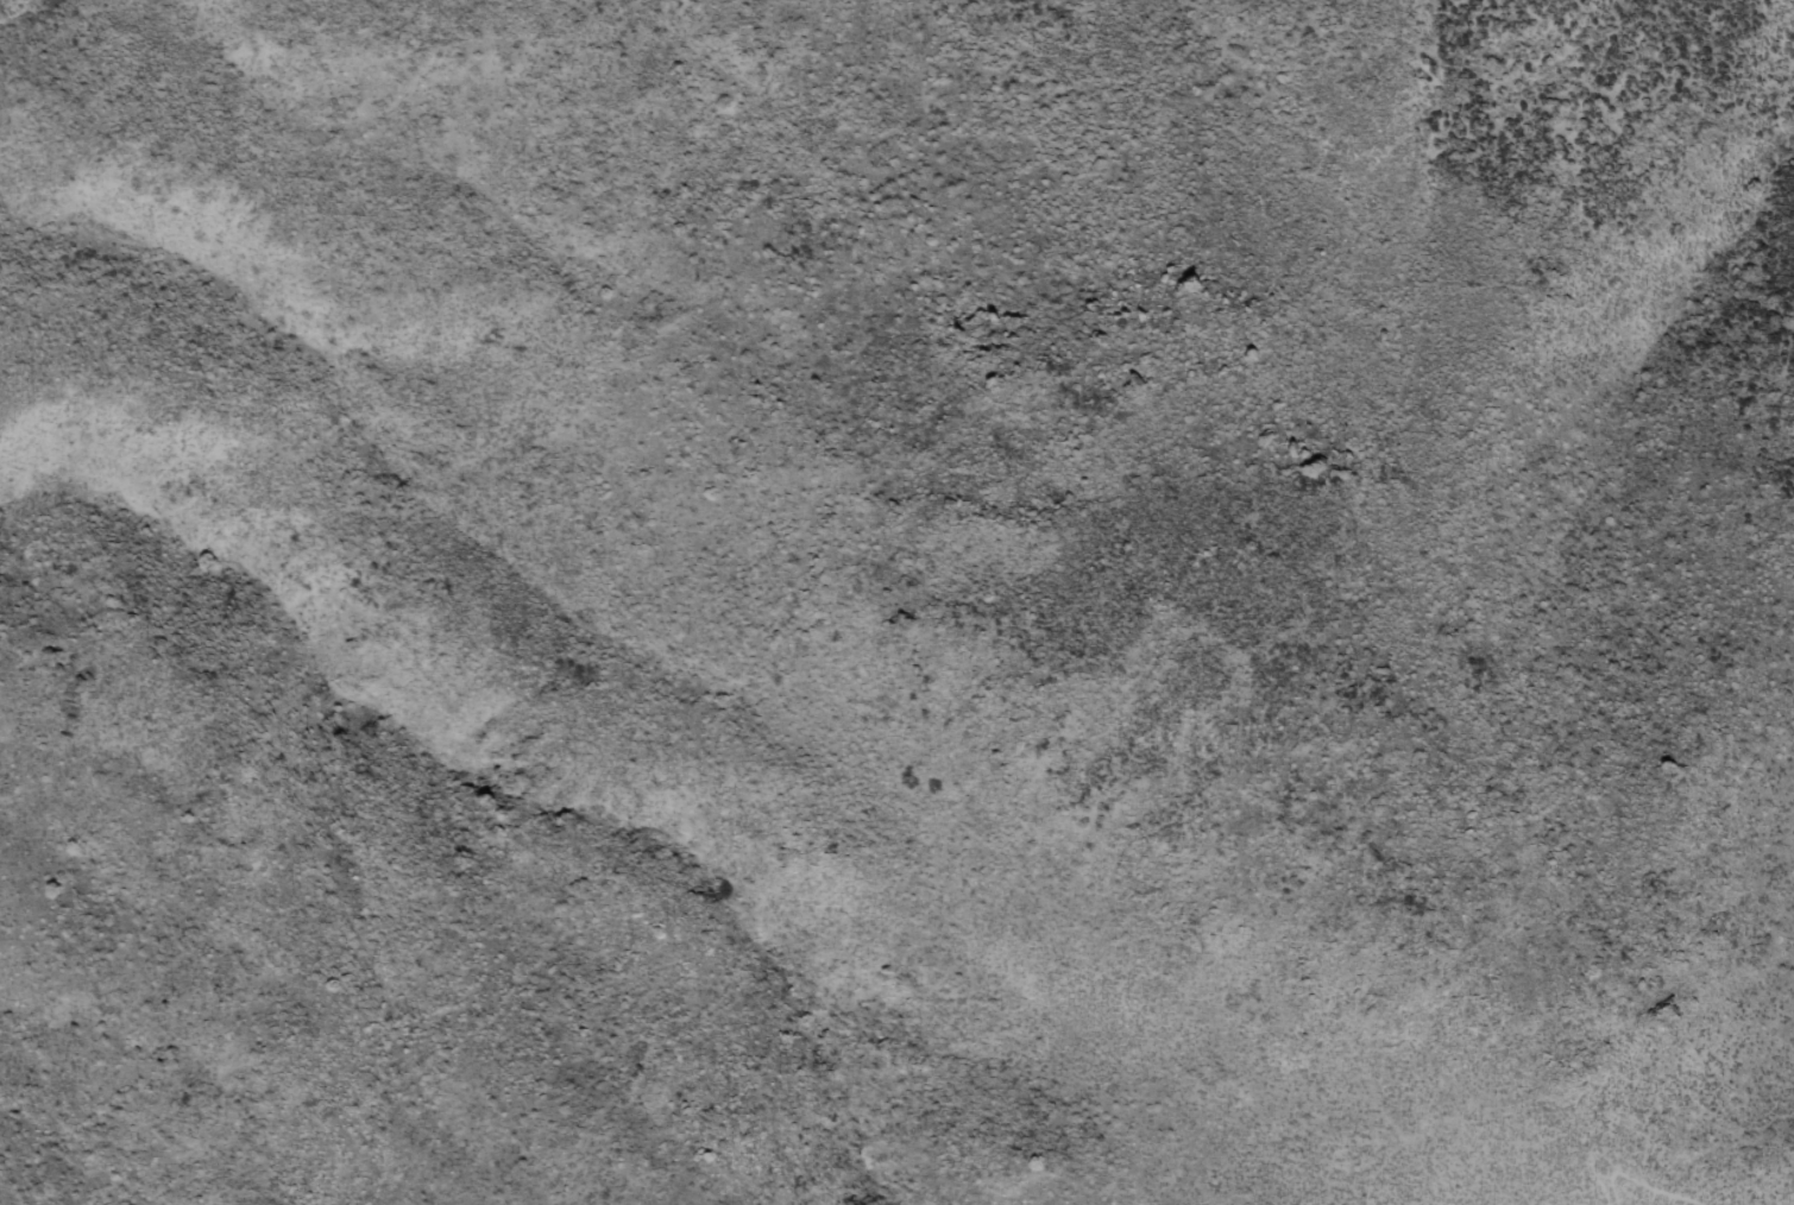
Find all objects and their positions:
road: (1623, 1166)

